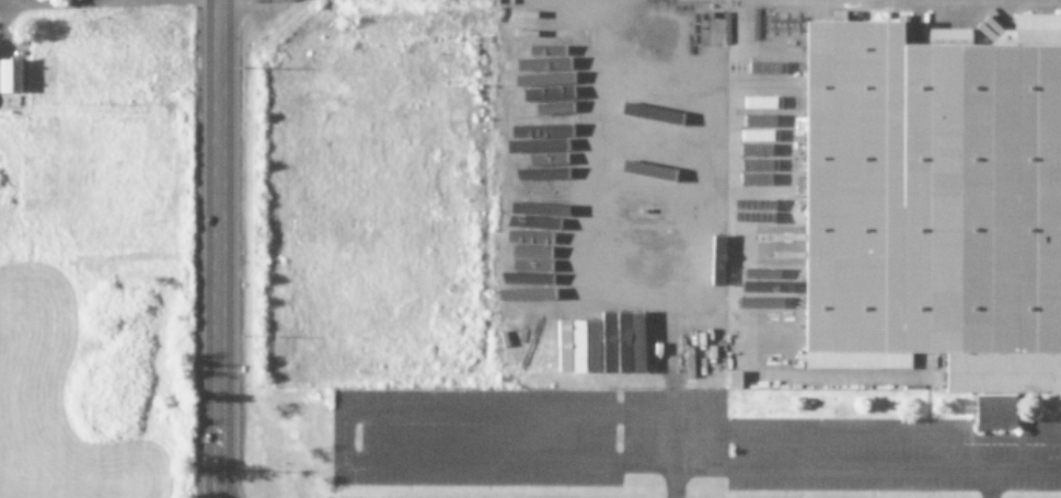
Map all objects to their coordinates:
road: (65, 1)
building: (763, 66)
building: (9, 76)
building: (543, 109)
building: (762, 135)
building: (780, 178)
road: (681, 192)
building: (933, 205)
building: (762, 210)
road: (217, 248)
building: (521, 277)
building: (624, 340)
building: (581, 341)
building: (647, 346)
building: (995, 410)
road: (868, 432)
road: (346, 437)
road: (677, 441)
road: (868, 466)
road: (992, 483)

